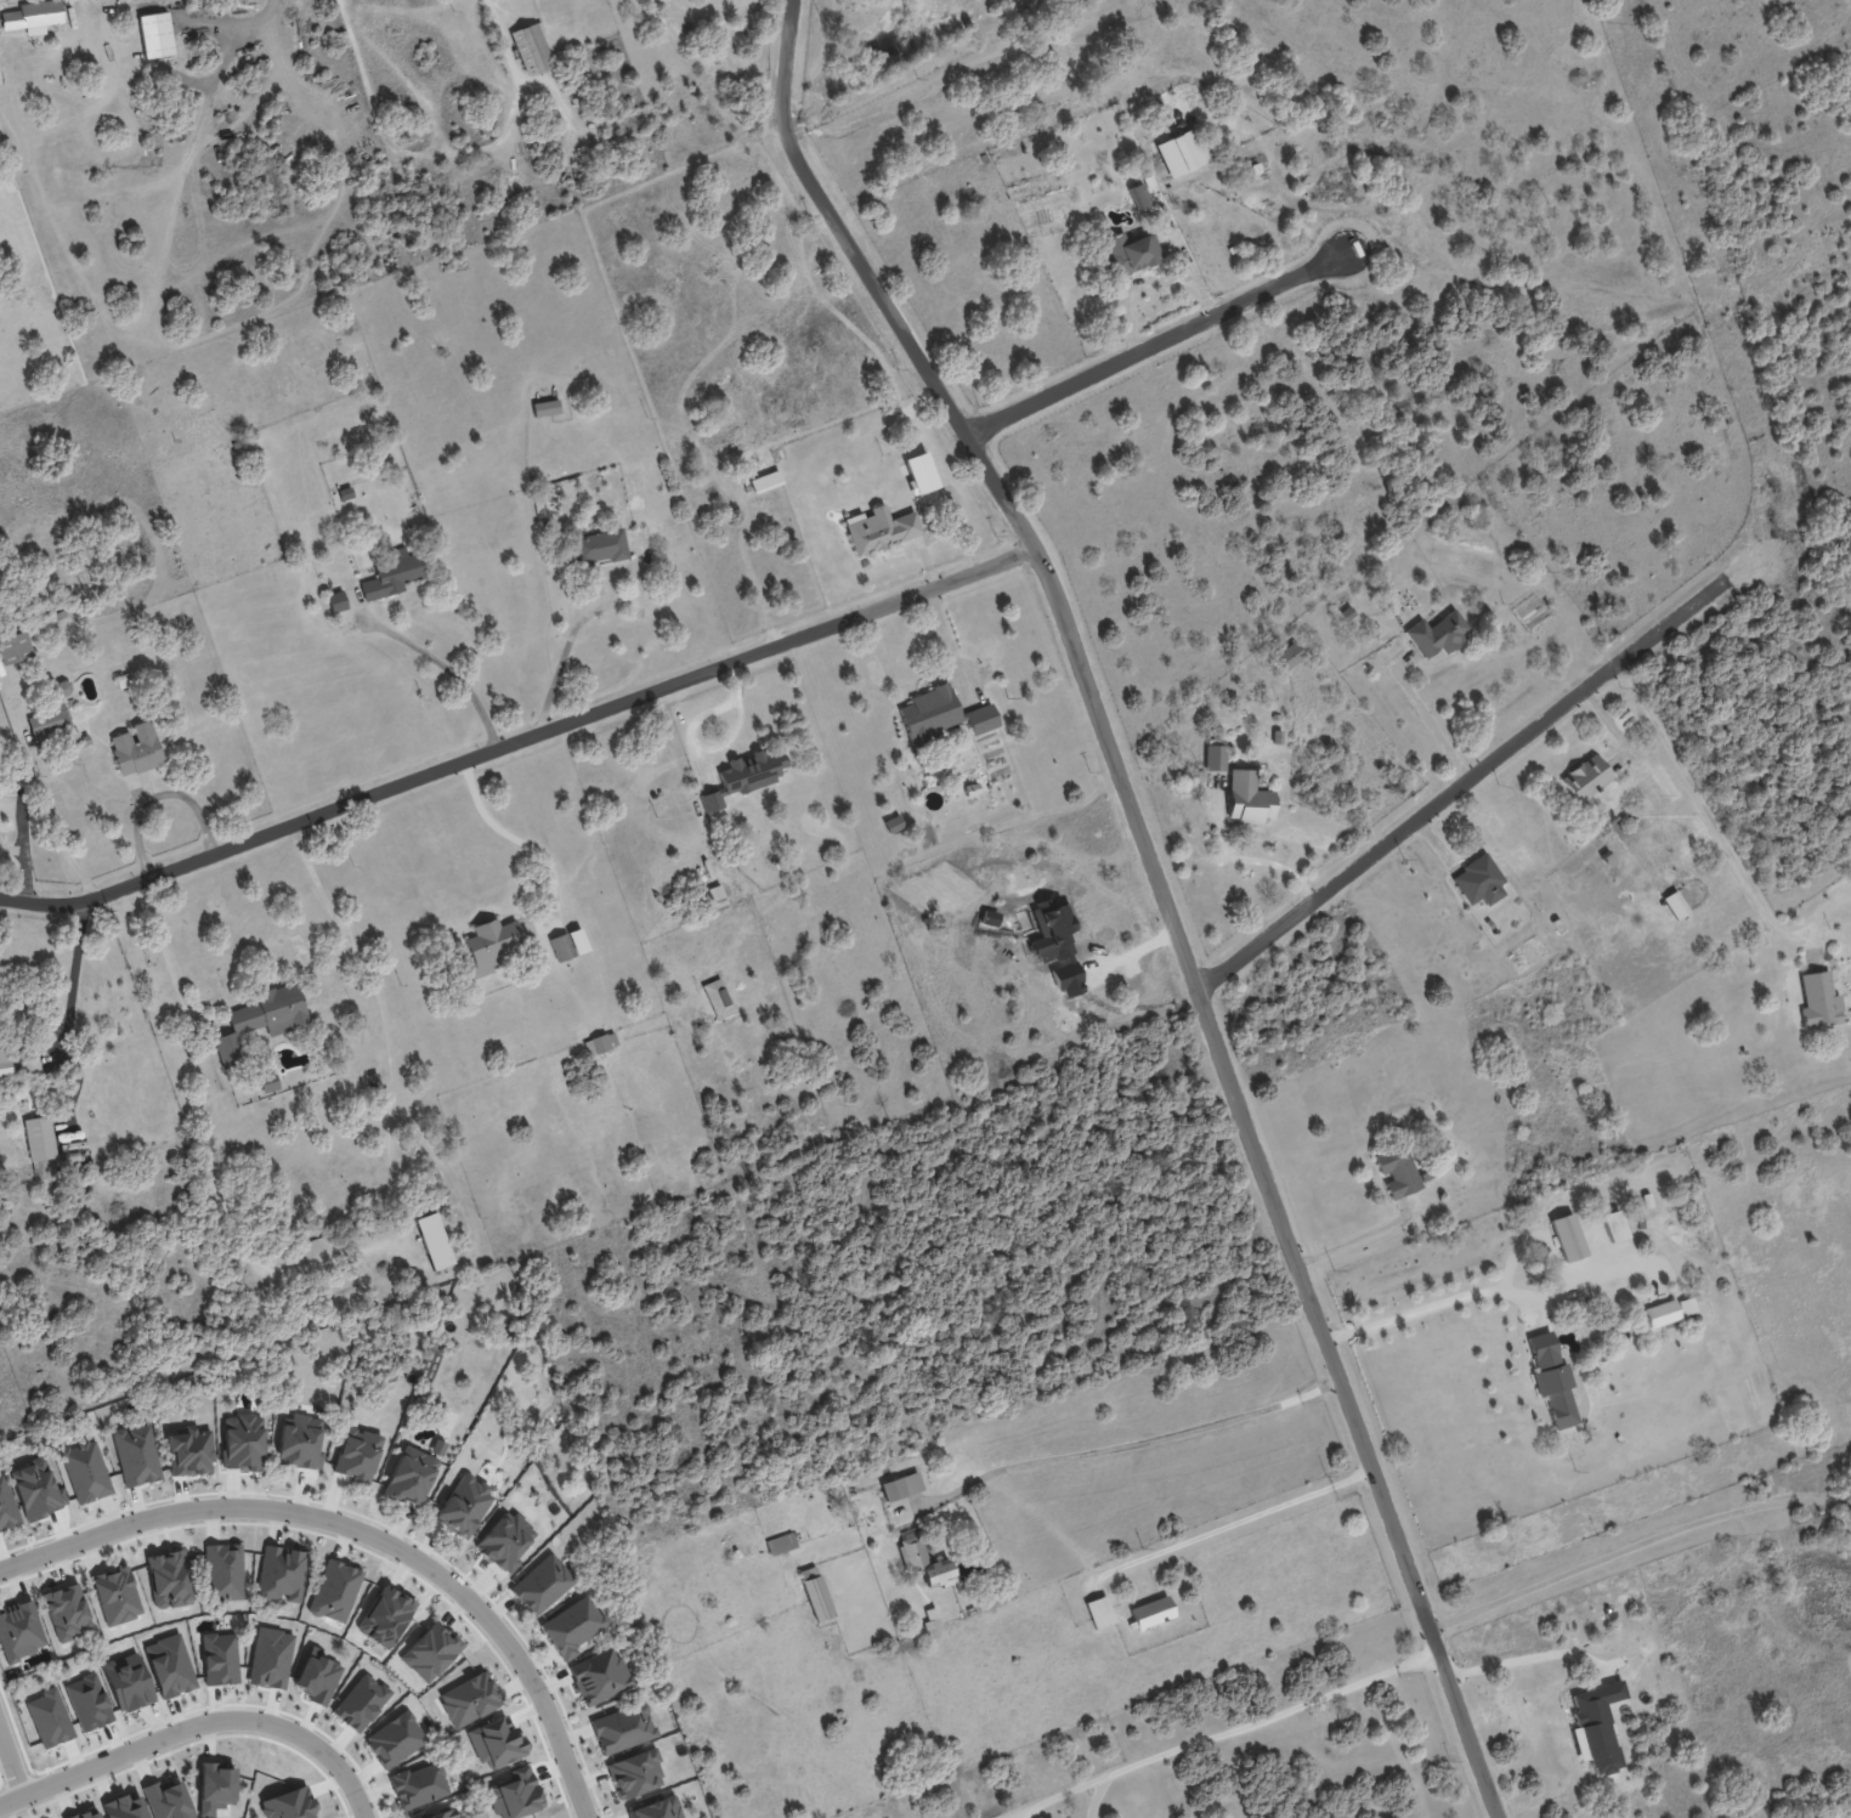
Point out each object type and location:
building: (30, 16)
building: (532, 49)
building: (1182, 152)
building: (1139, 196)
road: (1187, 237)
building: (1128, 253)
road: (1153, 274)
road: (1156, 344)
building: (545, 408)
building: (881, 529)
building: (600, 546)
building: (392, 574)
building: (336, 601)
building: (1347, 613)
building: (1437, 634)
road: (568, 638)
building: (15, 647)
building: (1289, 655)
road: (440, 667)
building: (62, 687)
building: (929, 713)
building: (981, 719)
road: (1430, 721)
building: (49, 723)
road: (519, 741)
building: (136, 748)
building: (1215, 758)
building: (752, 770)
building: (1585, 780)
road: (1462, 785)
building: (1247, 798)
building: (712, 800)
building: (893, 823)
road: (513, 833)
road: (1720, 836)
building: (1478, 880)
road: (1160, 893)
building: (717, 895)
building: (1675, 905)
building: (568, 945)
building: (491, 946)
road: (177, 982)
building: (718, 998)
building: (1818, 1001)
building: (261, 1020)
road: (385, 1021)
building: (600, 1043)
road: (67, 1047)
building: (28, 1061)
building: (5, 1076)
building: (268, 1082)
building: (38, 1140)
building: (72, 1156)
building: (1397, 1171)
building: (1618, 1231)
building: (1568, 1238)
road: (1353, 1240)
building: (434, 1241)
building: (1687, 1306)
road: (1428, 1307)
building: (1660, 1313)
building: (1552, 1380)
road: (1133, 1439)
building: (242, 1442)
building: (300, 1442)
building: (437, 1448)
building: (189, 1451)
building: (357, 1454)
building: (136, 1455)
building: (85, 1471)
building: (411, 1476)
building: (901, 1486)
building: (6, 1505)
building: (464, 1506)
road: (296, 1508)
road: (1232, 1522)
building: (505, 1541)
building: (781, 1544)
road: (1635, 1545)
building: (924, 1563)
building: (223, 1571)
building: (282, 1574)
building: (542, 1584)
building: (334, 1591)
building: (815, 1593)
building: (117, 1596)
building: (67, 1612)
building: (1099, 1612)
building: (1151, 1612)
building: (930, 1618)
building: (572, 1626)
building: (430, 1652)
building: (271, 1658)
building: (220, 1659)
road: (1529, 1664)
building: (170, 1666)
building: (317, 1676)
building: (600, 1676)
building: (128, 1682)
building: (469, 1699)
building: (89, 1703)
building: (361, 1703)
building: (49, 1718)
road: (1249, 1721)
building: (1596, 1726)
road: (180, 1727)
building: (622, 1728)
building: (395, 1739)
building: (496, 1741)
road: (559, 1752)
road: (9, 1771)
building: (635, 1773)
building: (419, 1785)
building: (216, 1788)
road: (1055, 1788)
building: (516, 1794)
building: (168, 1800)
road: (355, 1803)
building: (289, 1805)
building: (124, 1807)
building: (657, 1808)
building: (87, 1814)
building: (435, 1814)

